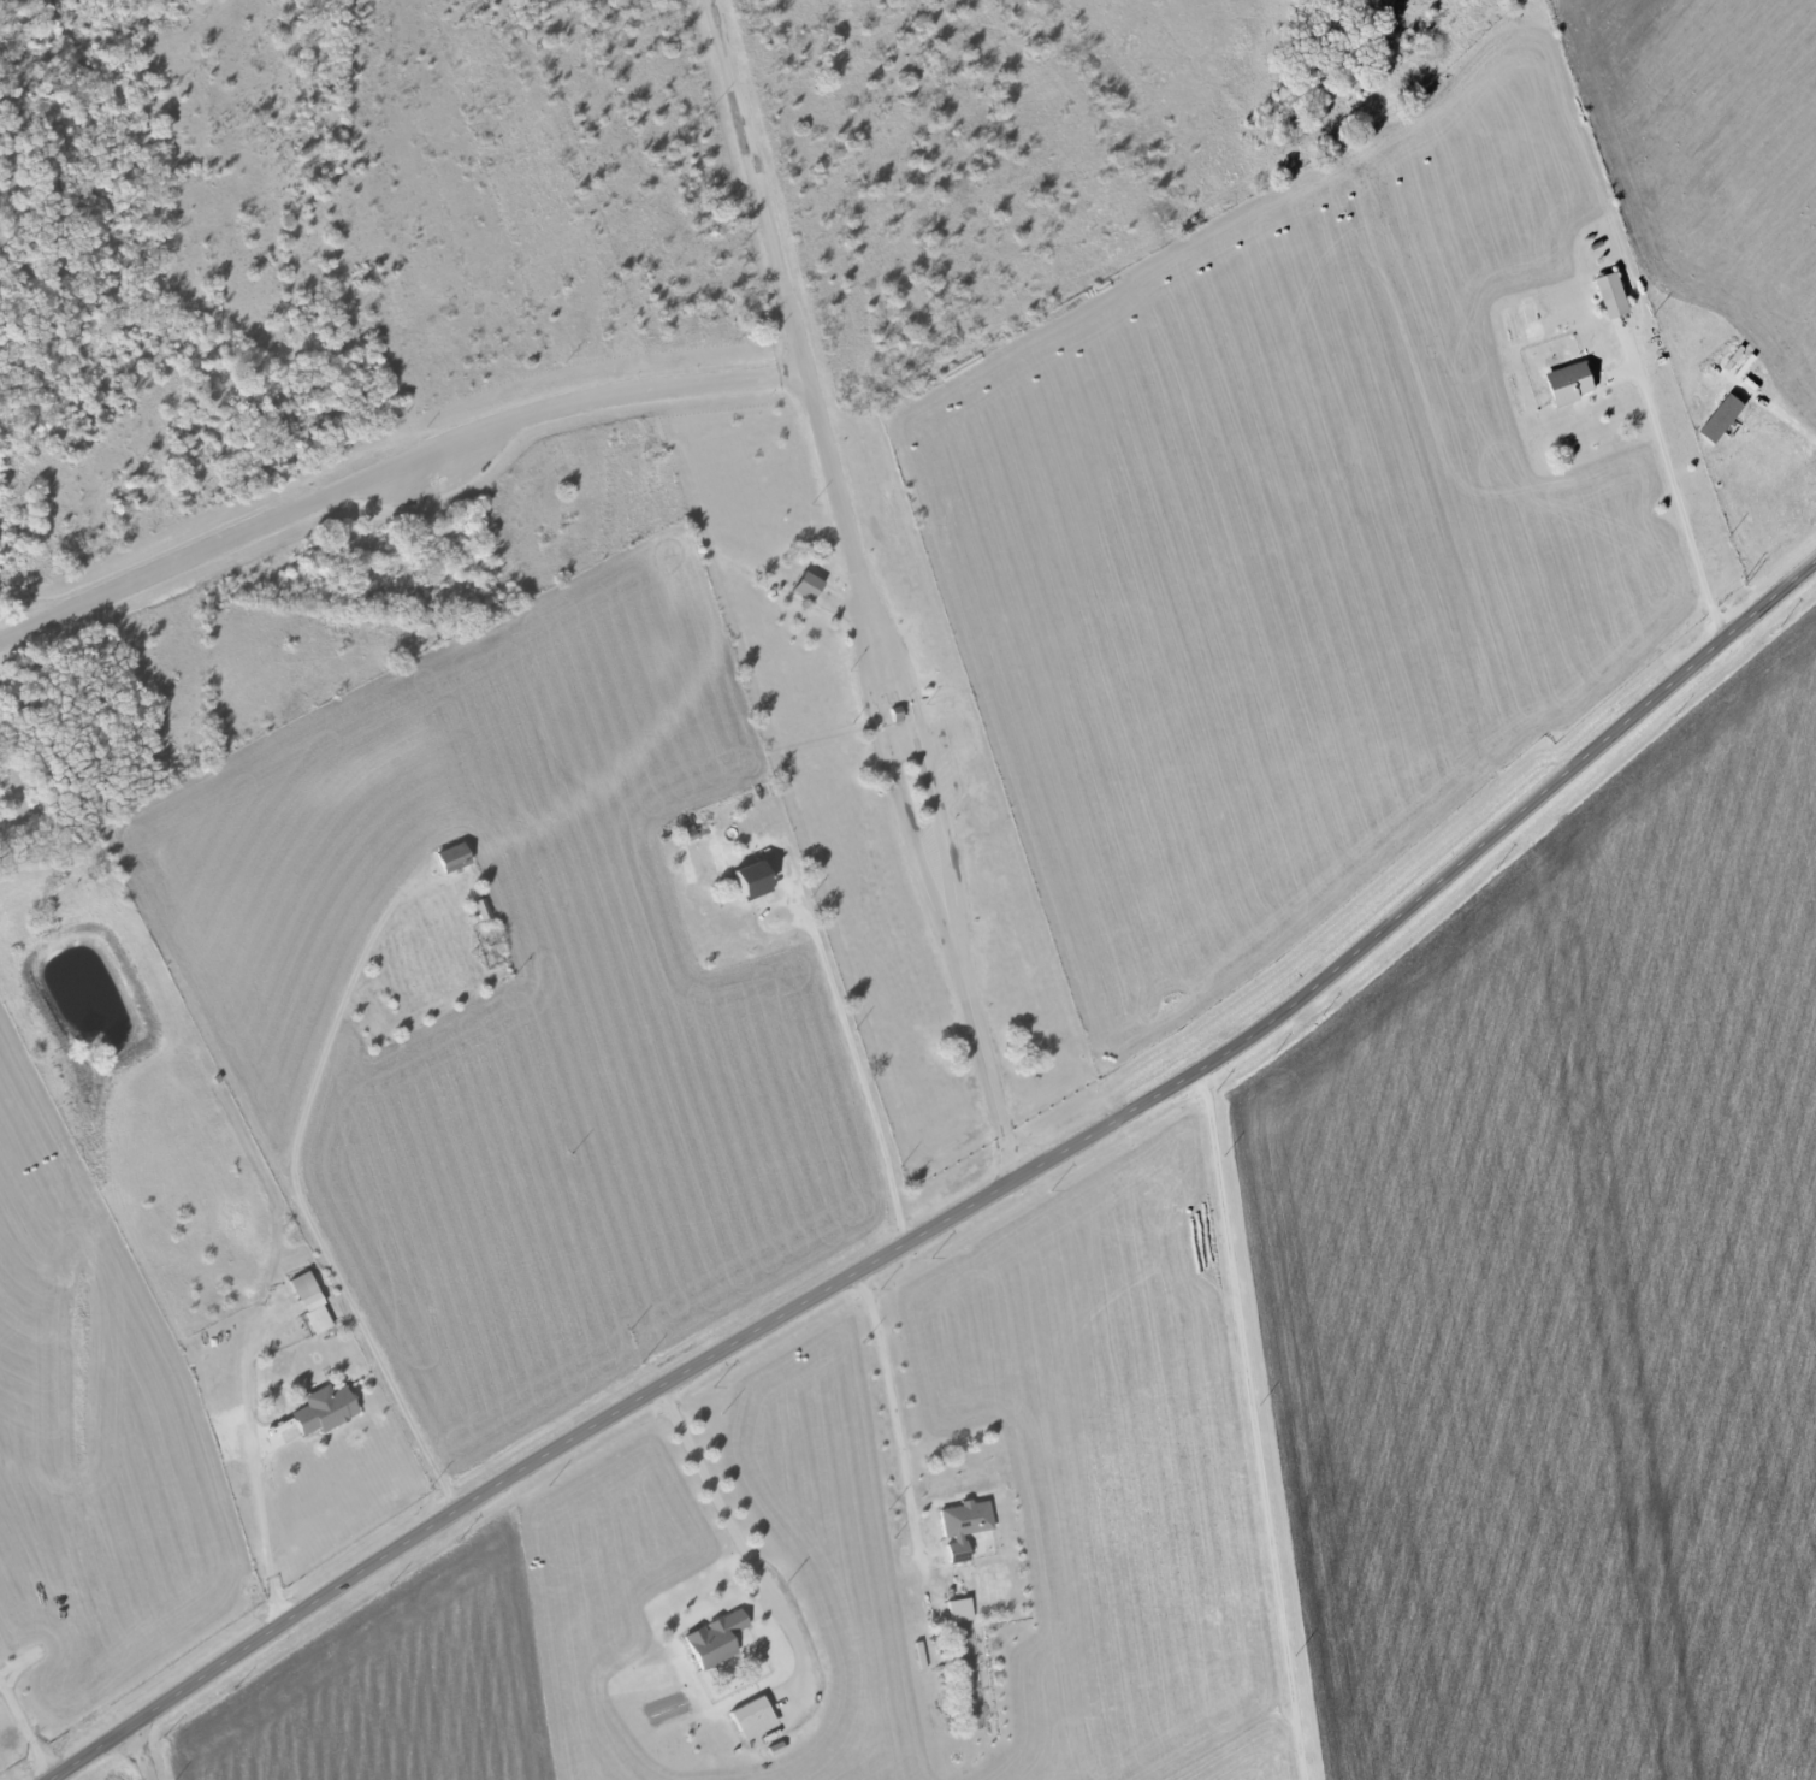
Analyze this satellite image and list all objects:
building: (1615, 294)
road: (789, 304)
building: (1573, 382)
building: (1725, 416)
road: (1786, 416)
park: (484, 443)
road: (394, 477)
road: (1675, 491)
building: (808, 581)
road: (840, 602)
road: (901, 743)
parking lot: (939, 767)
road: (930, 786)
road: (898, 794)
building: (452, 857)
building: (753, 879)
building: (480, 909)
road: (851, 1057)
road: (987, 1076)
road: (292, 1182)
road: (963, 1210)
building: (310, 1302)
building: (324, 1409)
road: (889, 1412)
road: (1254, 1427)
building: (963, 1524)
road: (730, 1525)
road: (261, 1538)
building: (958, 1610)
building: (715, 1639)
building: (752, 1719)
road: (22, 1732)
road: (137, 1755)

